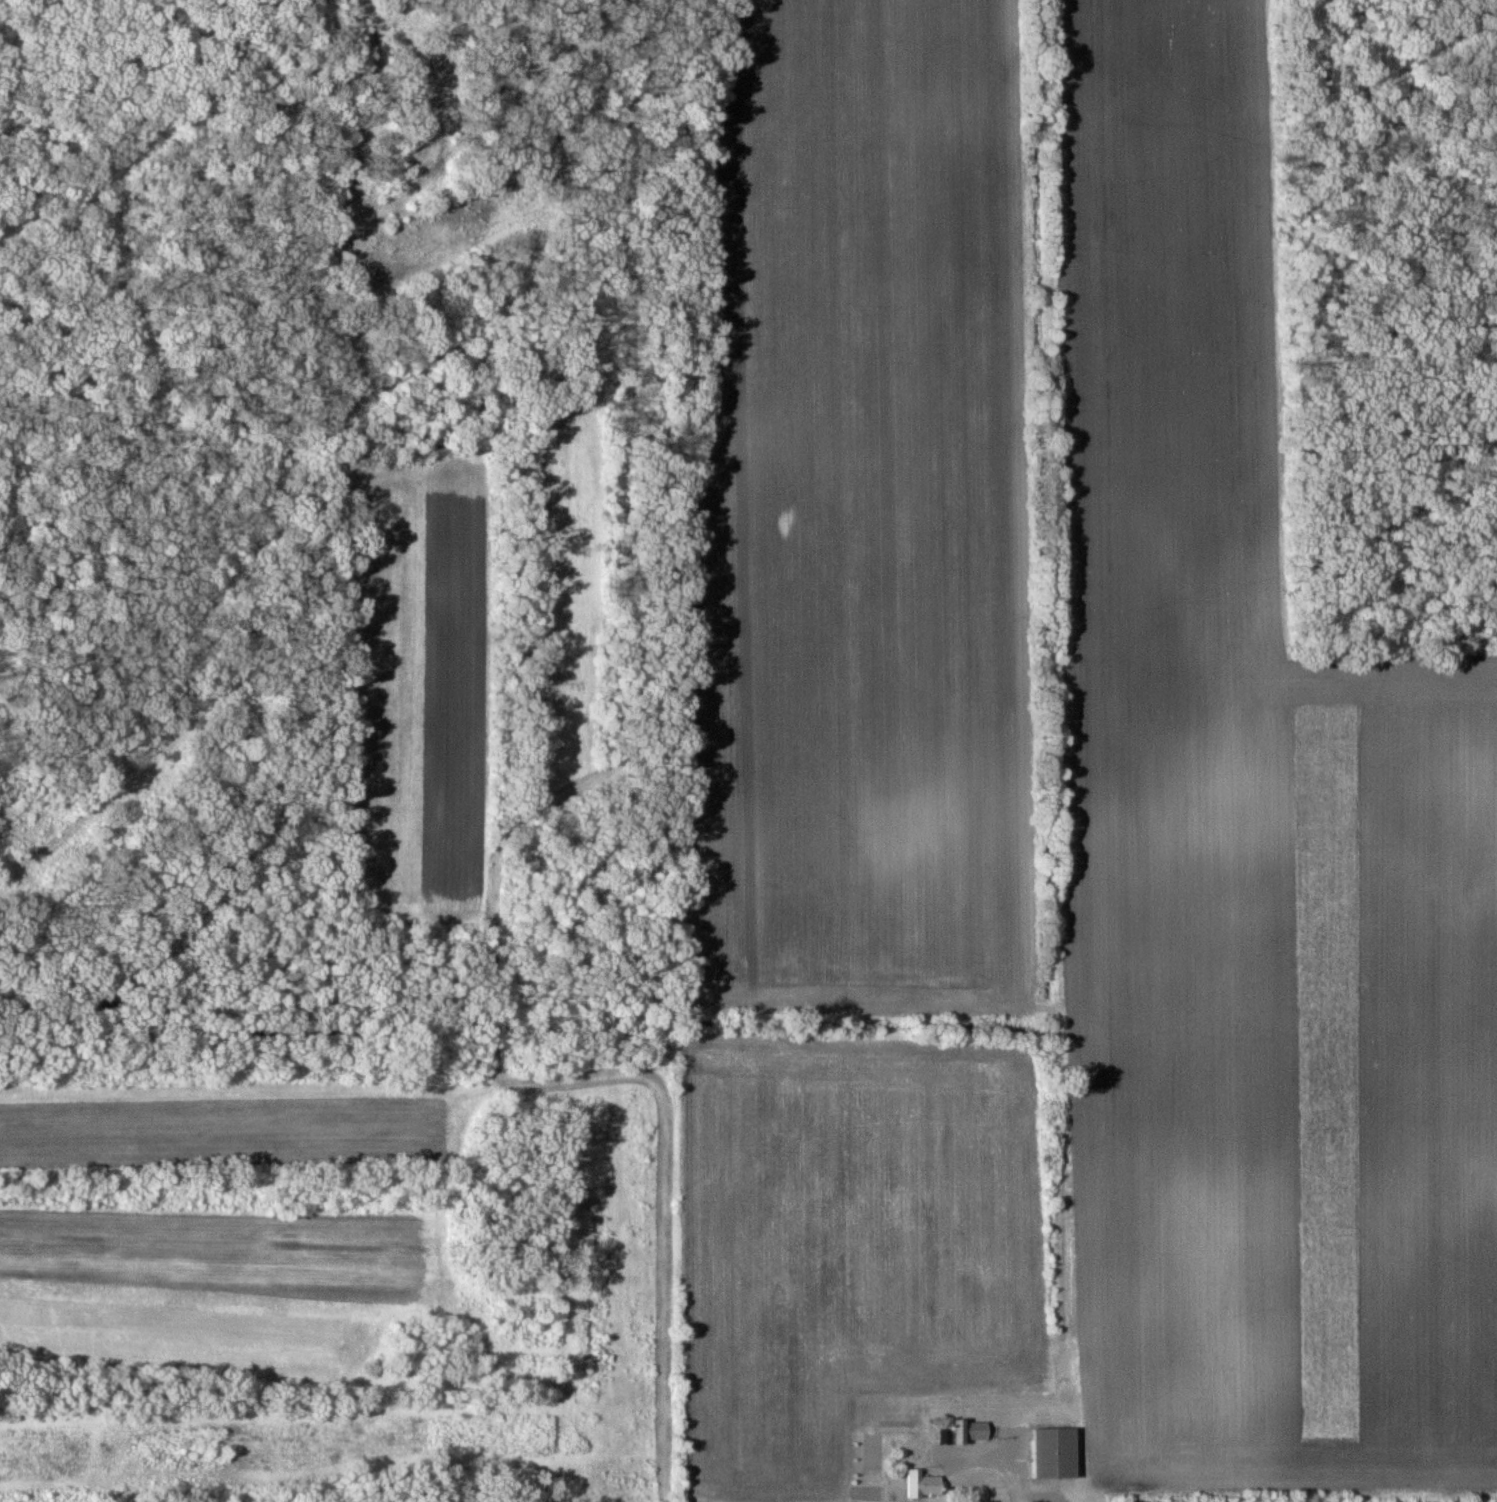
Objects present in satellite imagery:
building: (964, 1431)
building: (1052, 1452)
building: (922, 1485)

